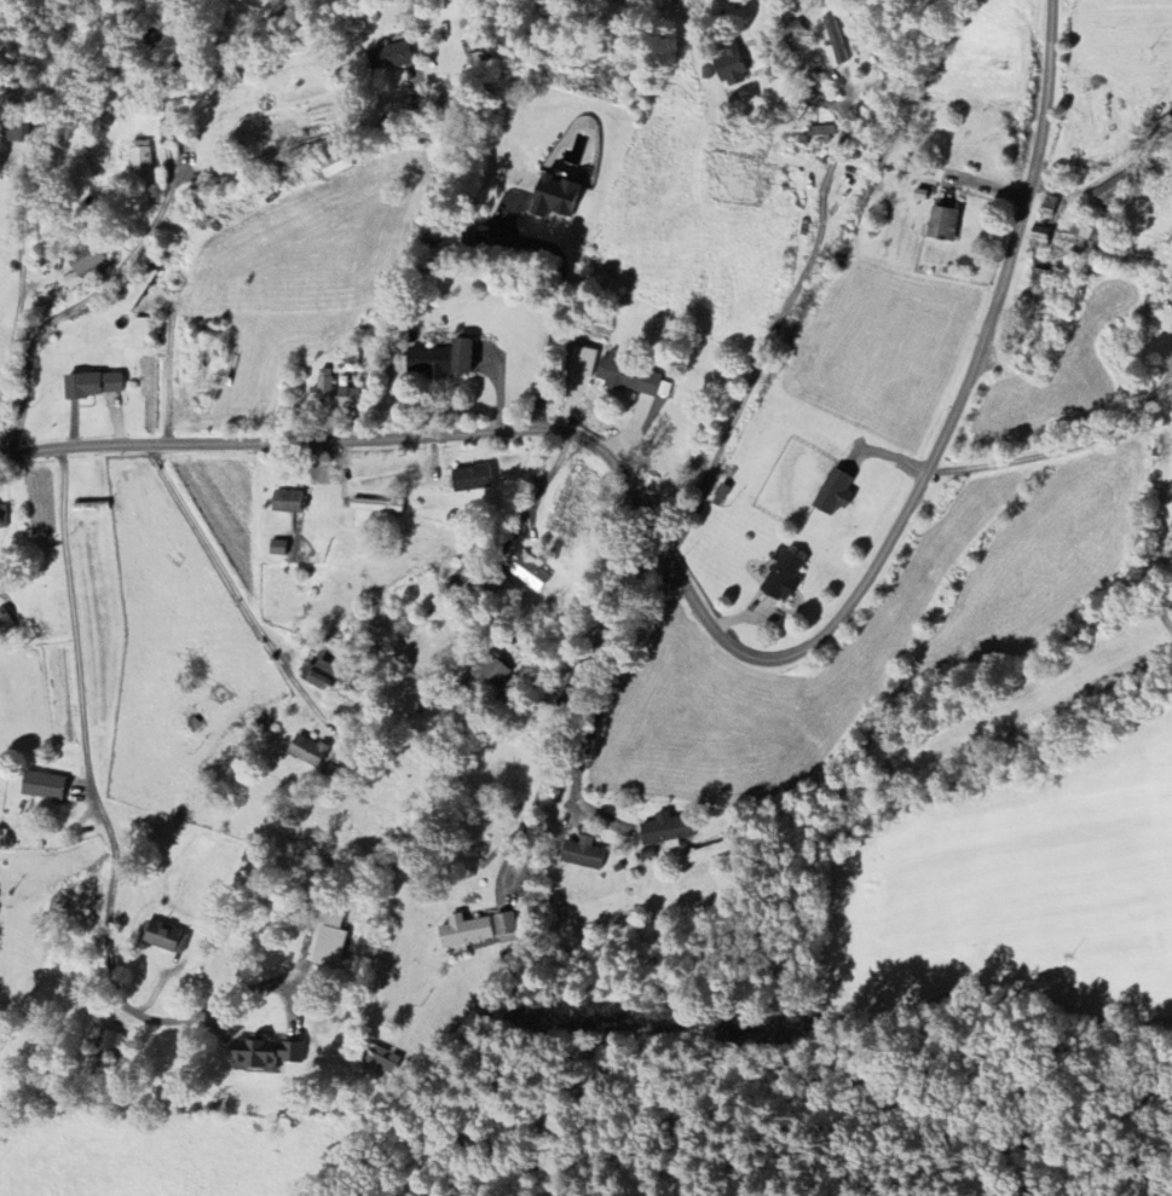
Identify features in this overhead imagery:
road: (183, 35)
building: (835, 40)
building: (389, 57)
building: (731, 67)
building: (705, 73)
road: (307, 138)
building: (140, 156)
building: (334, 166)
building: (1112, 191)
building: (553, 197)
building: (1049, 212)
road: (155, 216)
building: (941, 225)
building: (1080, 236)
building: (1040, 237)
building: (87, 260)
road: (21, 272)
building: (137, 287)
road: (553, 311)
building: (439, 360)
building: (582, 362)
road: (763, 362)
road: (169, 364)
building: (628, 377)
road: (1165, 380)
building: (91, 385)
building: (333, 393)
road: (1074, 440)
building: (470, 479)
building: (833, 493)
building: (287, 502)
building: (4, 516)
building: (529, 572)
road: (585, 573)
building: (783, 577)
road: (233, 583)
road: (1157, 603)
building: (5, 620)
road: (711, 626)
building: (490, 668)
building: (323, 676)
road: (604, 701)
building: (306, 750)
road: (555, 751)
building: (42, 785)
road: (103, 815)
building: (666, 830)
building: (582, 854)
building: (506, 928)
building: (463, 930)
building: (166, 937)
building: (331, 940)
building: (110, 1042)
building: (264, 1053)
building: (383, 1061)

